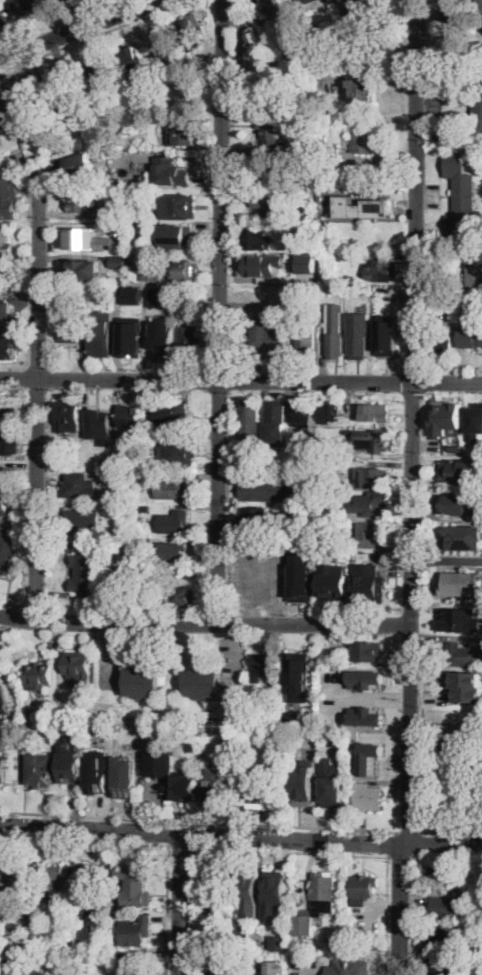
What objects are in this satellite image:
building: (69, 0)
building: (335, 0)
building: (59, 1)
building: (352, 1)
building: (304, 2)
building: (384, 2)
building: (454, 5)
building: (25, 6)
building: (269, 7)
building: (386, 17)
building: (3, 19)
building: (195, 23)
road: (76, 28)
road: (96, 35)
building: (196, 38)
building: (168, 49)
building: (257, 50)
building: (475, 51)
building: (134, 72)
building: (98, 73)
building: (362, 83)
building: (178, 86)
building: (63, 90)
building: (178, 97)
building: (477, 103)
building: (25, 106)
building: (142, 112)
building: (2, 114)
building: (272, 127)
building: (182, 132)
building: (363, 142)
building: (95, 147)
building: (332, 150)
building: (73, 152)
building: (79, 165)
building: (117, 169)
building: (275, 170)
building: (171, 172)
building: (8, 197)
building: (461, 199)
building: (83, 200)
building: (264, 200)
building: (356, 204)
building: (178, 207)
building: (120, 209)
building: (309, 215)
building: (136, 223)
building: (120, 228)
building: (178, 236)
building: (86, 239)
building: (254, 239)
building: (5, 244)
building: (81, 255)
building: (118, 260)
building: (306, 262)
building: (264, 264)
building: (132, 265)
building: (86, 267)
building: (474, 268)
building: (186, 271)
building: (382, 271)
building: (9, 273)
building: (152, 277)
building: (335, 289)
building: (369, 289)
building: (134, 294)
building: (448, 305)
building: (294, 308)
road: (220, 311)
building: (5, 315)
building: (170, 315)
building: (69, 328)
building: (101, 334)
building: (358, 334)
building: (386, 334)
building: (131, 336)
building: (268, 336)
building: (470, 336)
building: (189, 338)
building: (334, 338)
building: (306, 341)
building: (162, 342)
building: (440, 343)
building: (9, 351)
road: (241, 377)
road: (37, 393)
building: (329, 410)
building: (301, 412)
building: (275, 413)
building: (374, 413)
building: (6, 414)
building: (67, 415)
building: (180, 415)
building: (446, 416)
building: (128, 419)
building: (250, 420)
building: (474, 421)
building: (98, 425)
building: (372, 440)
building: (9, 443)
building: (456, 445)
building: (177, 455)
building: (115, 458)
building: (321, 463)
building: (104, 464)
building: (2, 472)
building: (451, 474)
building: (145, 477)
building: (310, 478)
building: (372, 478)
building: (80, 486)
road: (411, 488)
building: (172, 490)
building: (267, 490)
building: (450, 501)
building: (4, 504)
building: (373, 504)
building: (145, 507)
building: (83, 517)
building: (256, 519)
building: (174, 522)
building: (369, 534)
building: (463, 537)
building: (319, 541)
building: (280, 543)
building: (6, 551)
building: (172, 551)
road: (446, 559)
building: (85, 572)
building: (279, 573)
building: (255, 581)
building: (334, 581)
building: (461, 581)
building: (369, 583)
building: (124, 584)
building: (301, 586)
building: (180, 597)
building: (460, 618)
road: (204, 622)
road: (6, 623)
park: (10, 646)
building: (368, 652)
building: (464, 655)
building: (332, 657)
building: (79, 665)
building: (262, 666)
building: (297, 675)
building: (39, 677)
building: (465, 678)
building: (366, 681)
building: (142, 682)
building: (202, 683)
building: (468, 693)
building: (3, 699)
building: (32, 715)
building: (365, 715)
building: (293, 717)
building: (103, 730)
building: (338, 738)
building: (370, 757)
building: (69, 763)
building: (2, 767)
park: (451, 769)
building: (40, 770)
building: (105, 773)
building: (125, 776)
building: (171, 777)
building: (303, 782)
building: (333, 783)
building: (214, 785)
building: (259, 792)
building: (369, 798)
road: (197, 819)
road: (451, 830)
road: (408, 831)
road: (240, 836)
road: (149, 842)
road: (417, 842)
road: (392, 843)
road: (180, 844)
road: (290, 851)
road: (401, 855)
building: (445, 873)
building: (7, 874)
building: (55, 877)
building: (85, 878)
building: (259, 883)
building: (135, 885)
building: (363, 889)
building: (218, 890)
building: (275, 894)
building: (479, 895)
building: (317, 903)
road: (180, 904)
building: (444, 907)
road: (192, 910)
road: (386, 914)
road: (412, 915)
building: (96, 920)
building: (16, 925)
parking lot: (368, 926)
building: (137, 931)
building: (478, 931)
building: (445, 935)
building: (242, 936)
building: (43, 941)
building: (276, 942)
building: (316, 949)
building: (12, 956)
building: (132, 963)
building: (475, 965)
building: (442, 966)
building: (226, 967)
building: (350, 967)
building: (275, 968)

